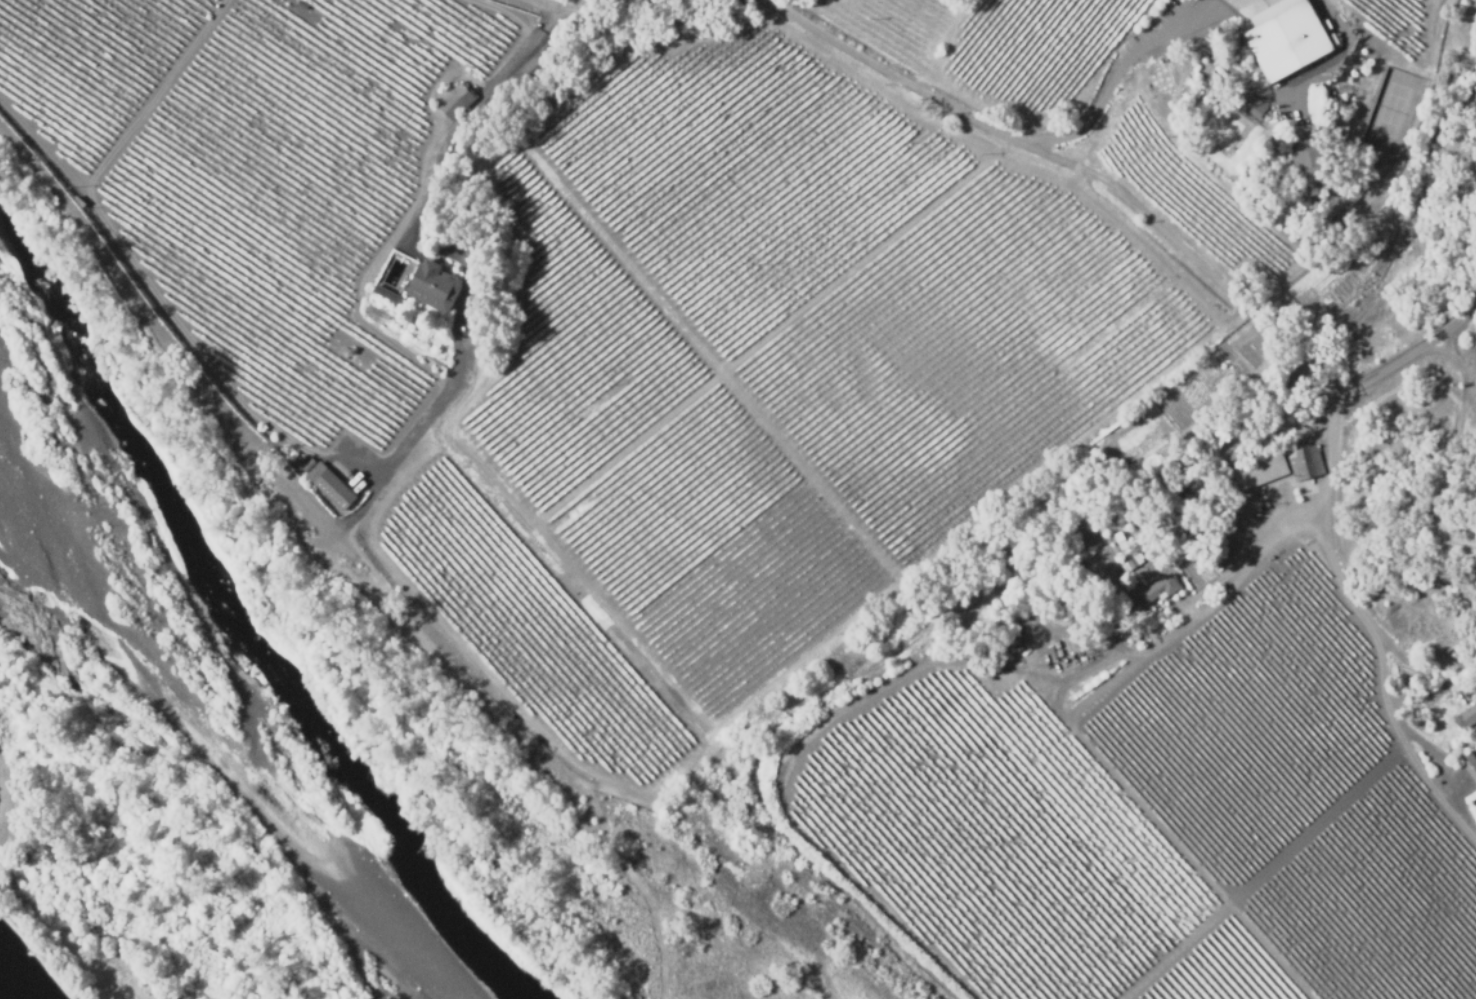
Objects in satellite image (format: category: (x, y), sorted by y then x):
building: (301, 5)
road: (573, 7)
building: (1289, 46)
building: (546, 53)
road: (1132, 54)
building: (454, 101)
building: (1306, 159)
road: (1077, 167)
building: (82, 198)
road: (453, 230)
building: (433, 289)
building: (385, 293)
road: (1412, 358)
road: (1446, 454)
building: (1305, 462)
building: (1260, 472)
building: (330, 486)
building: (1117, 540)
building: (1130, 563)
building: (1147, 592)
river: (223, 615)
road: (1368, 632)
building: (1473, 686)
building: (1467, 715)
building: (1471, 757)
road: (5, 797)

